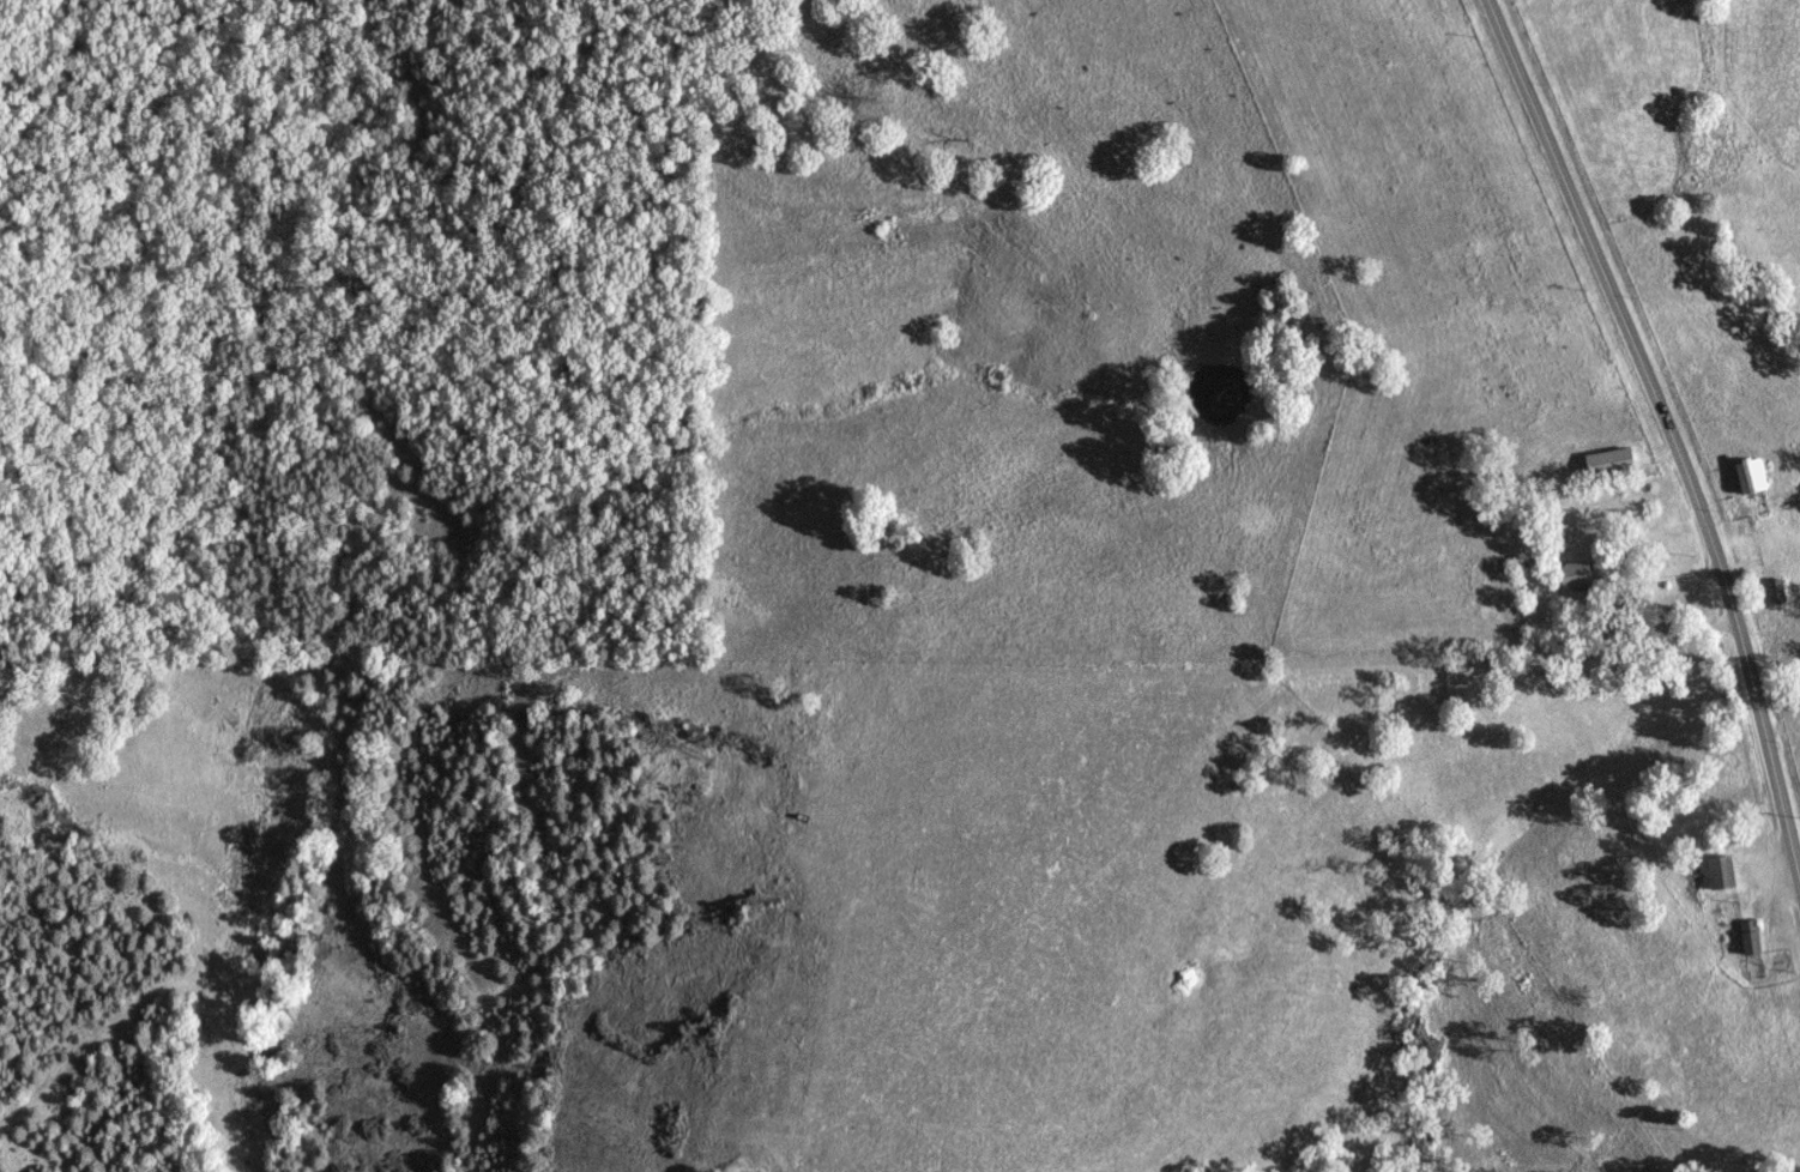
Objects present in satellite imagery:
road: (1661, 446)
building: (1611, 463)
building: (1752, 477)
building: (1721, 872)

